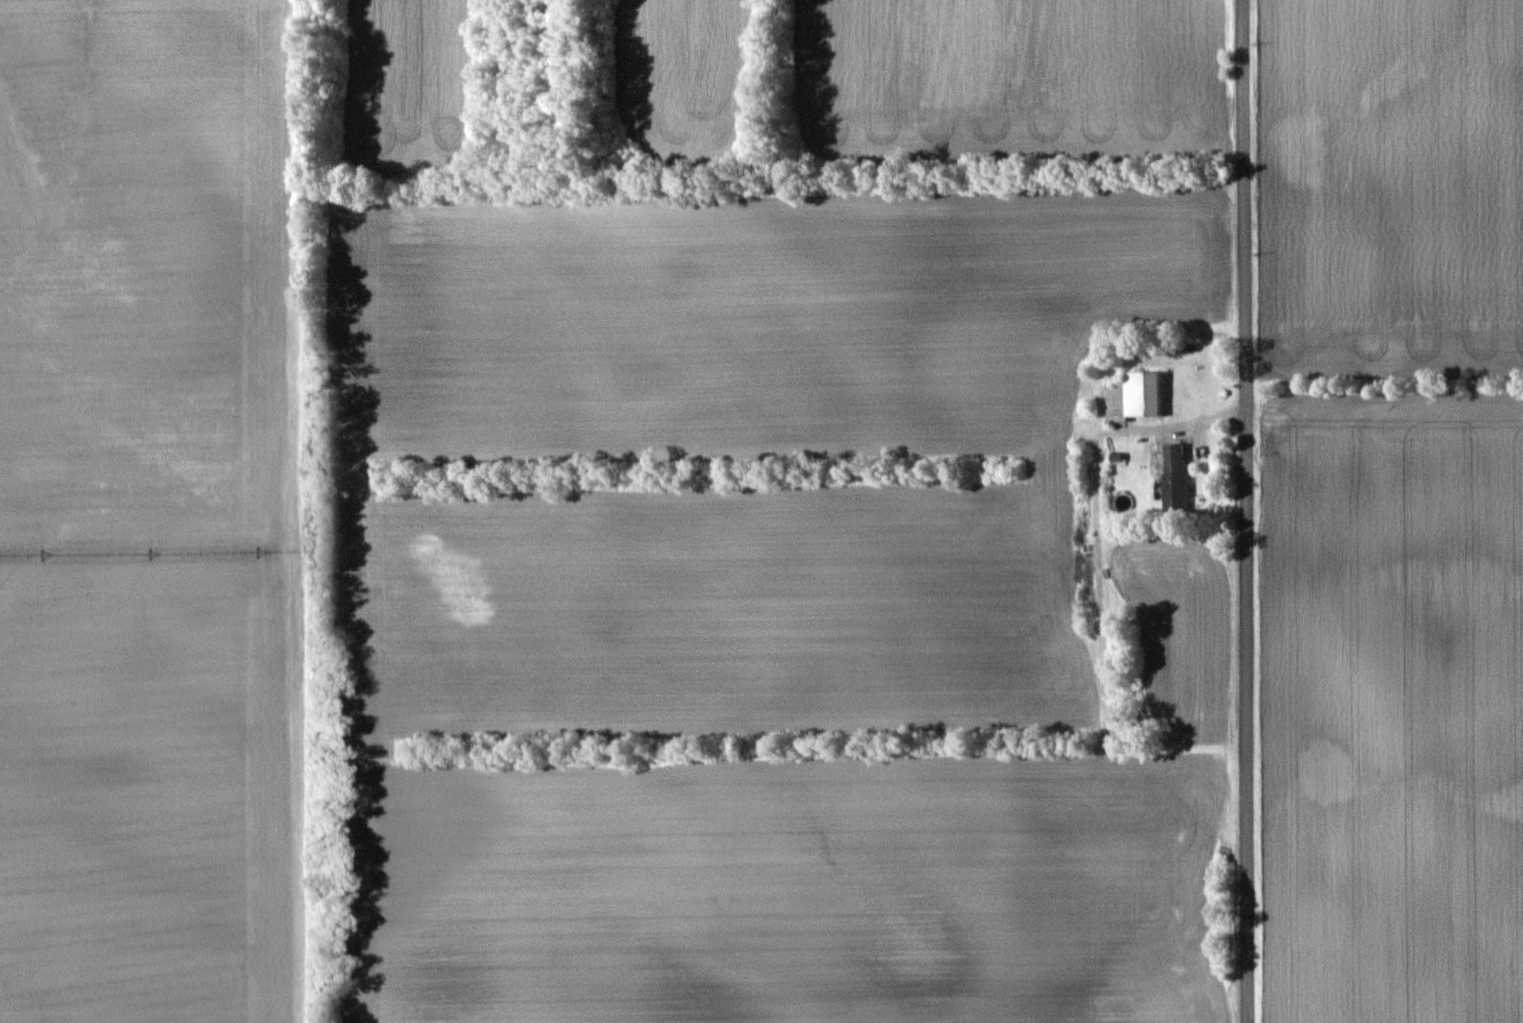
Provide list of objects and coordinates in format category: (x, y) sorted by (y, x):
building: (1175, 475)
road: (1246, 511)

